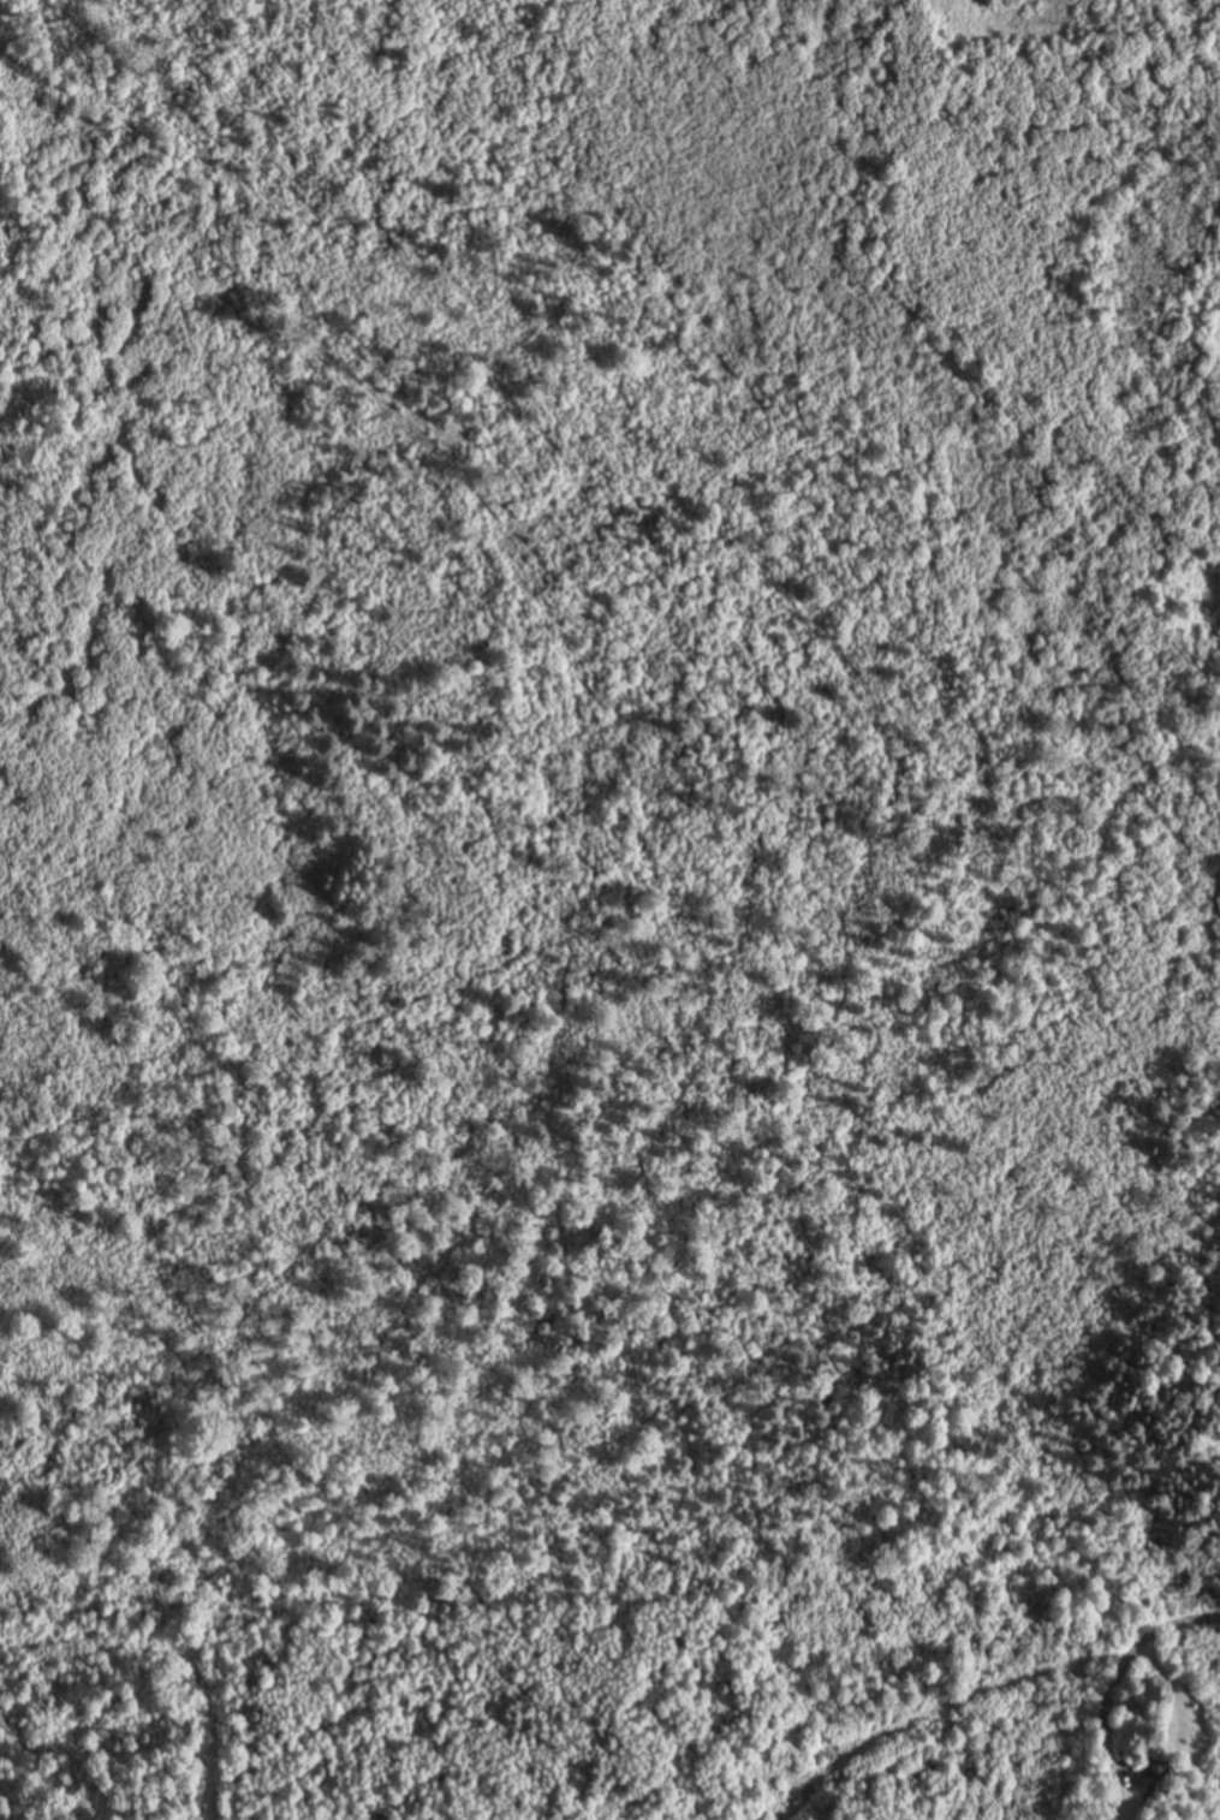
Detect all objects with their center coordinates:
road: (1090, 1652)
building: (1157, 1771)

